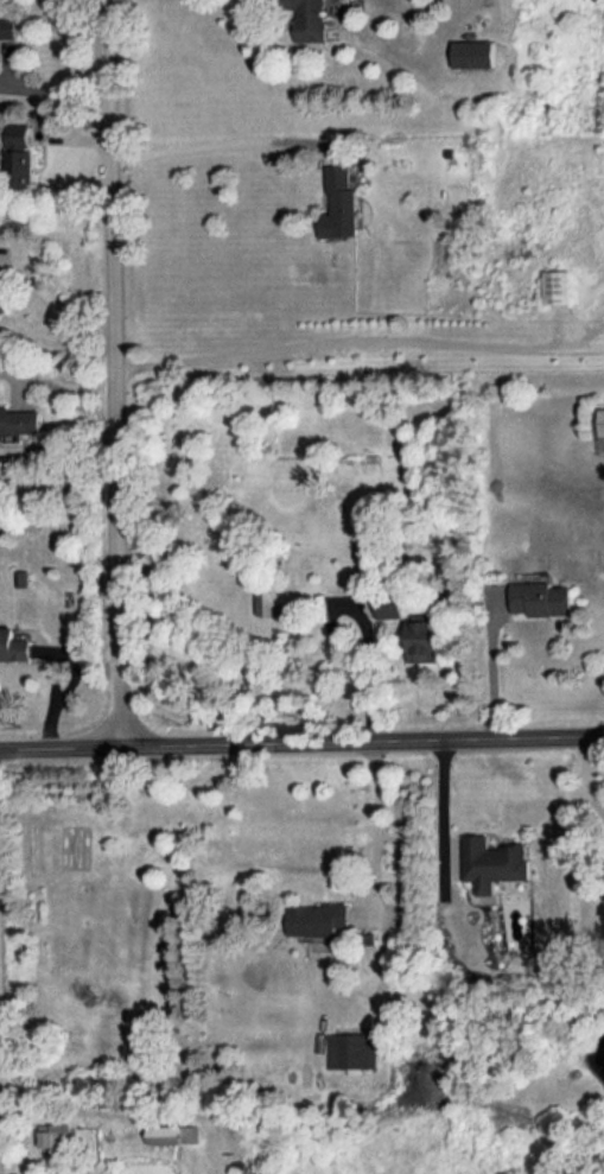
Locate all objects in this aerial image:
building: (310, 18)
building: (8, 27)
building: (473, 52)
road: (45, 83)
road: (220, 142)
building: (21, 156)
building: (339, 203)
building: (558, 286)
road: (58, 304)
road: (358, 341)
road: (115, 372)
building: (19, 420)
building: (602, 420)
building: (543, 597)
building: (271, 601)
building: (393, 604)
road: (365, 609)
building: (426, 636)
building: (14, 646)
road: (494, 672)
road: (301, 741)
road: (380, 823)
building: (494, 862)
building: (318, 918)
building: (350, 1048)
road: (71, 1110)
power tower: (520, 1112)
building: (173, 1132)
building: (56, 1134)

